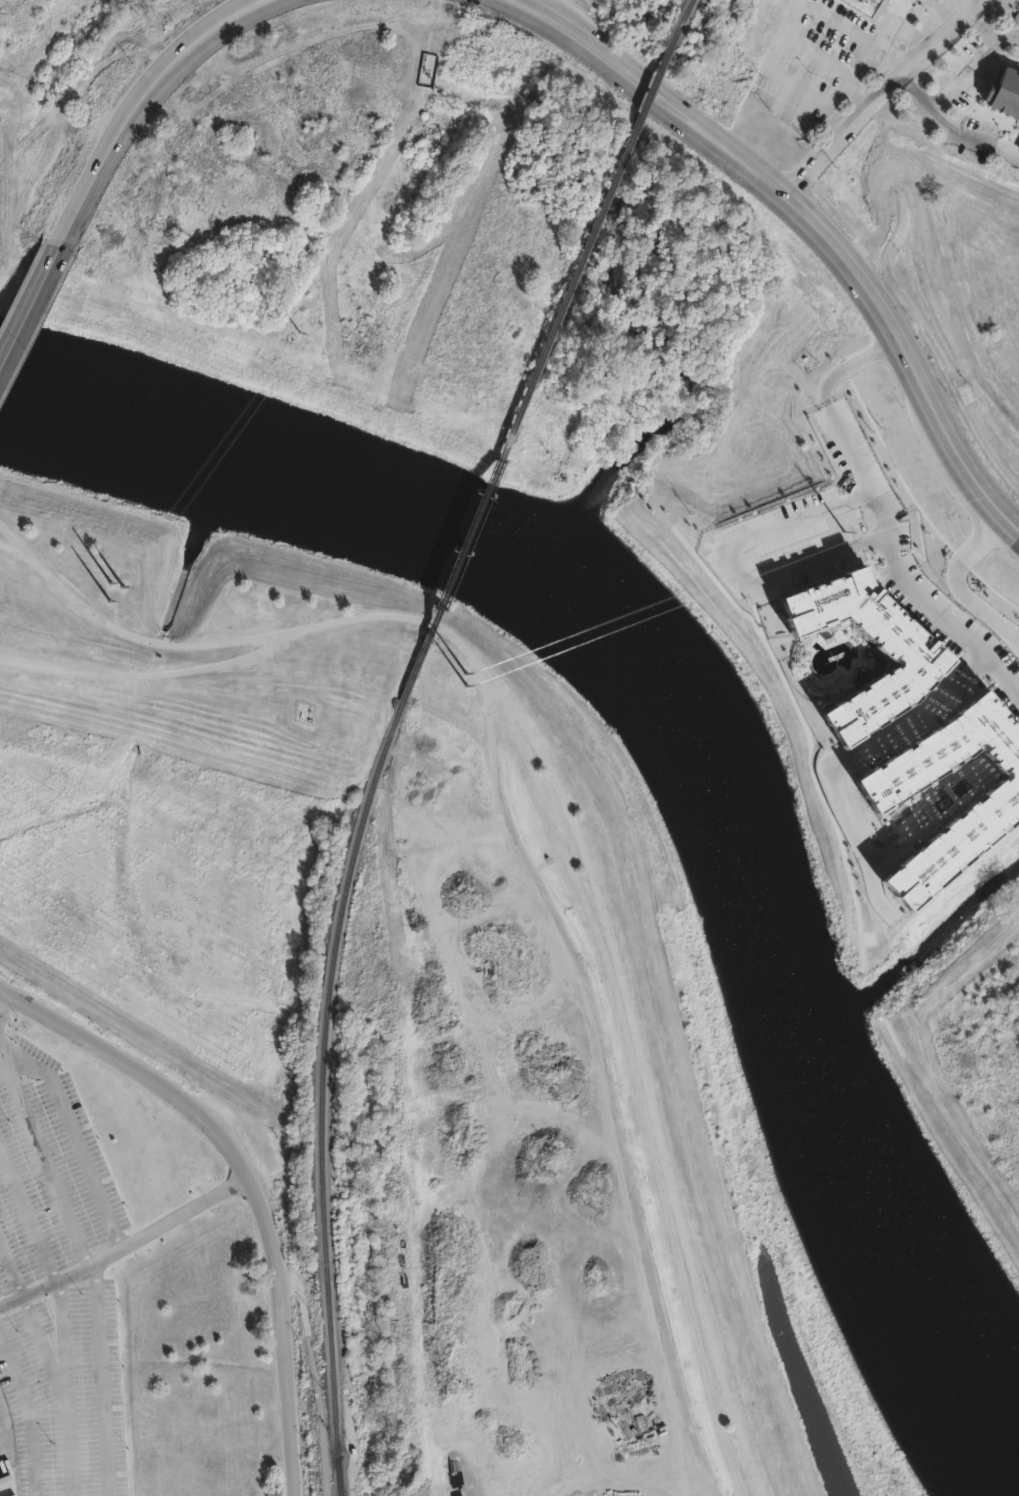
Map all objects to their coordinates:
building: (890, 0)
road: (492, 1)
building: (864, 8)
railway: (679, 23)
road: (1007, 34)
road: (868, 54)
road: (629, 59)
road: (601, 66)
road: (961, 78)
road: (880, 93)
building: (1006, 101)
road: (140, 103)
power tower: (443, 120)
road: (971, 139)
building: (1018, 149)
road: (31, 301)
road: (885, 311)
power tower: (292, 345)
railway: (537, 375)
road: (889, 508)
power tower: (845, 530)
road: (13, 538)
road: (753, 557)
road: (969, 573)
power tower: (121, 596)
building: (911, 667)
road: (140, 675)
power tower: (451, 680)
river: (712, 732)
road: (858, 753)
building: (875, 800)
road: (509, 826)
road: (3, 1004)
railway: (325, 1094)
road: (642, 1096)
road: (75, 1139)
road: (43, 1158)
road: (248, 1181)
road: (27, 1217)
road: (125, 1244)
road: (10, 1271)
parking lot: (57, 1283)
road: (63, 1346)
road: (315, 1379)
road: (101, 1380)
road: (62, 1392)
road: (29, 1414)
railway: (337, 1482)
road: (676, 1482)

